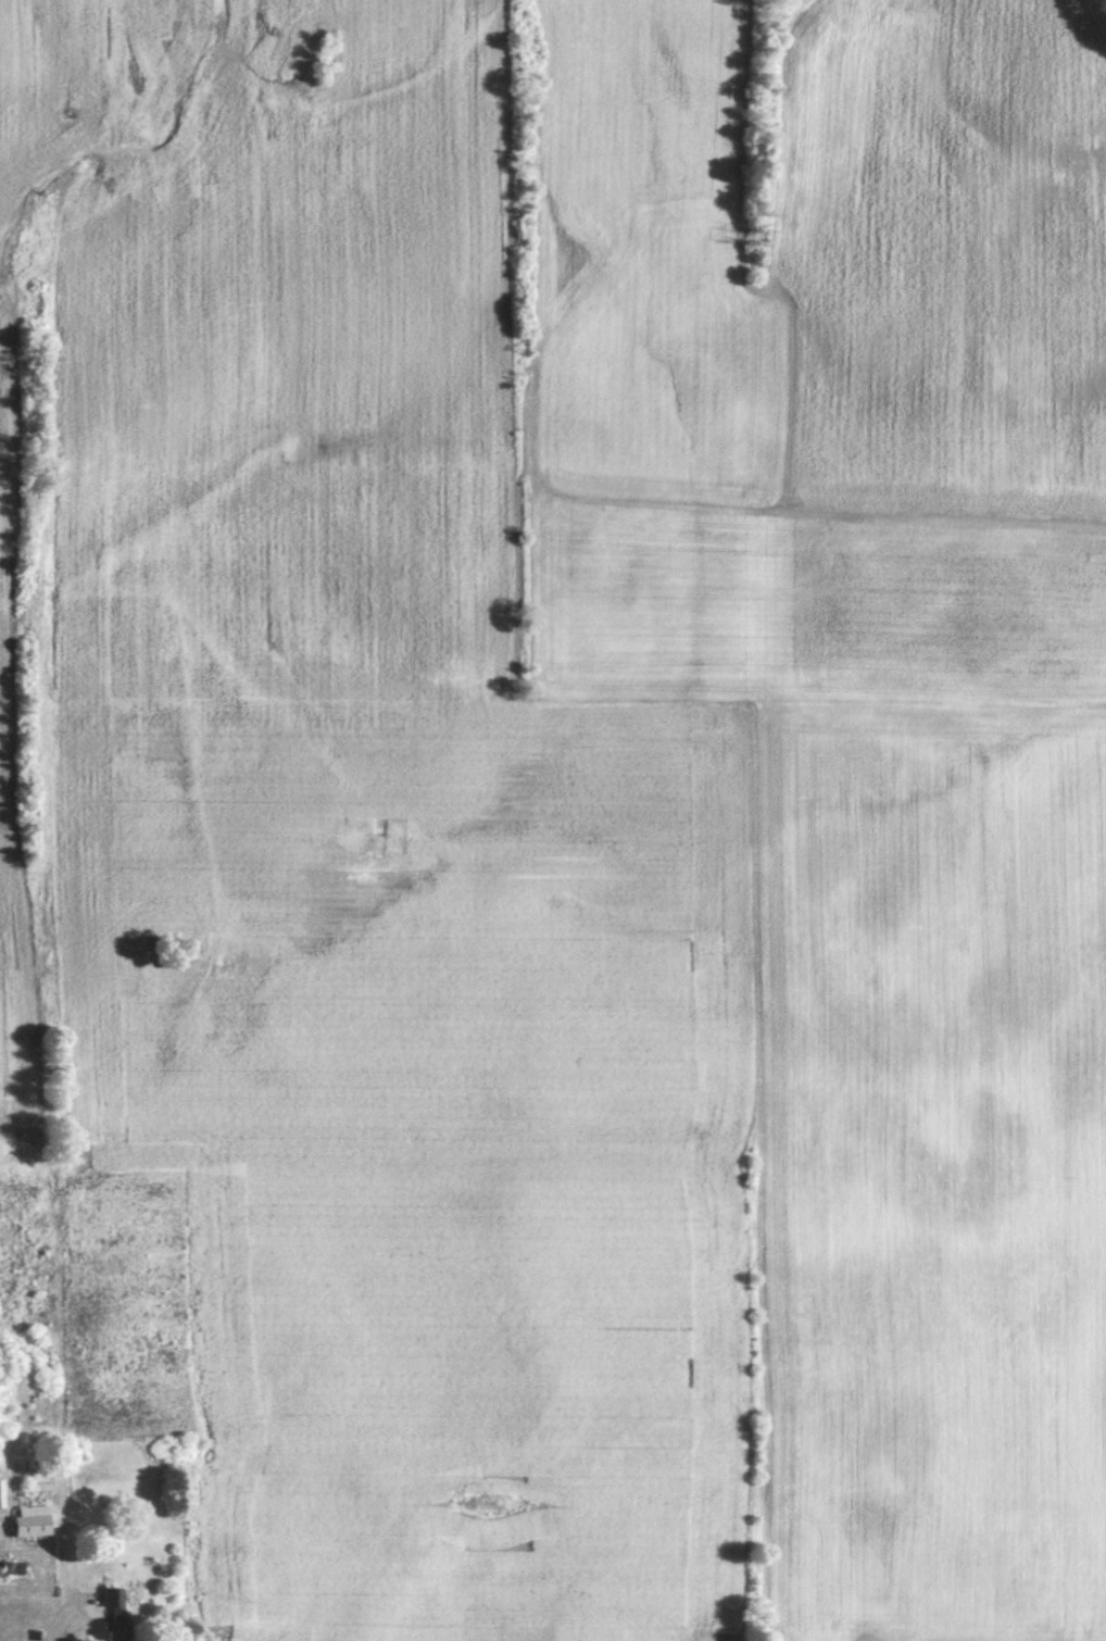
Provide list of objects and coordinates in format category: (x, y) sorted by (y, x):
building: (2, 1492)
building: (35, 1519)
building: (112, 1595)

